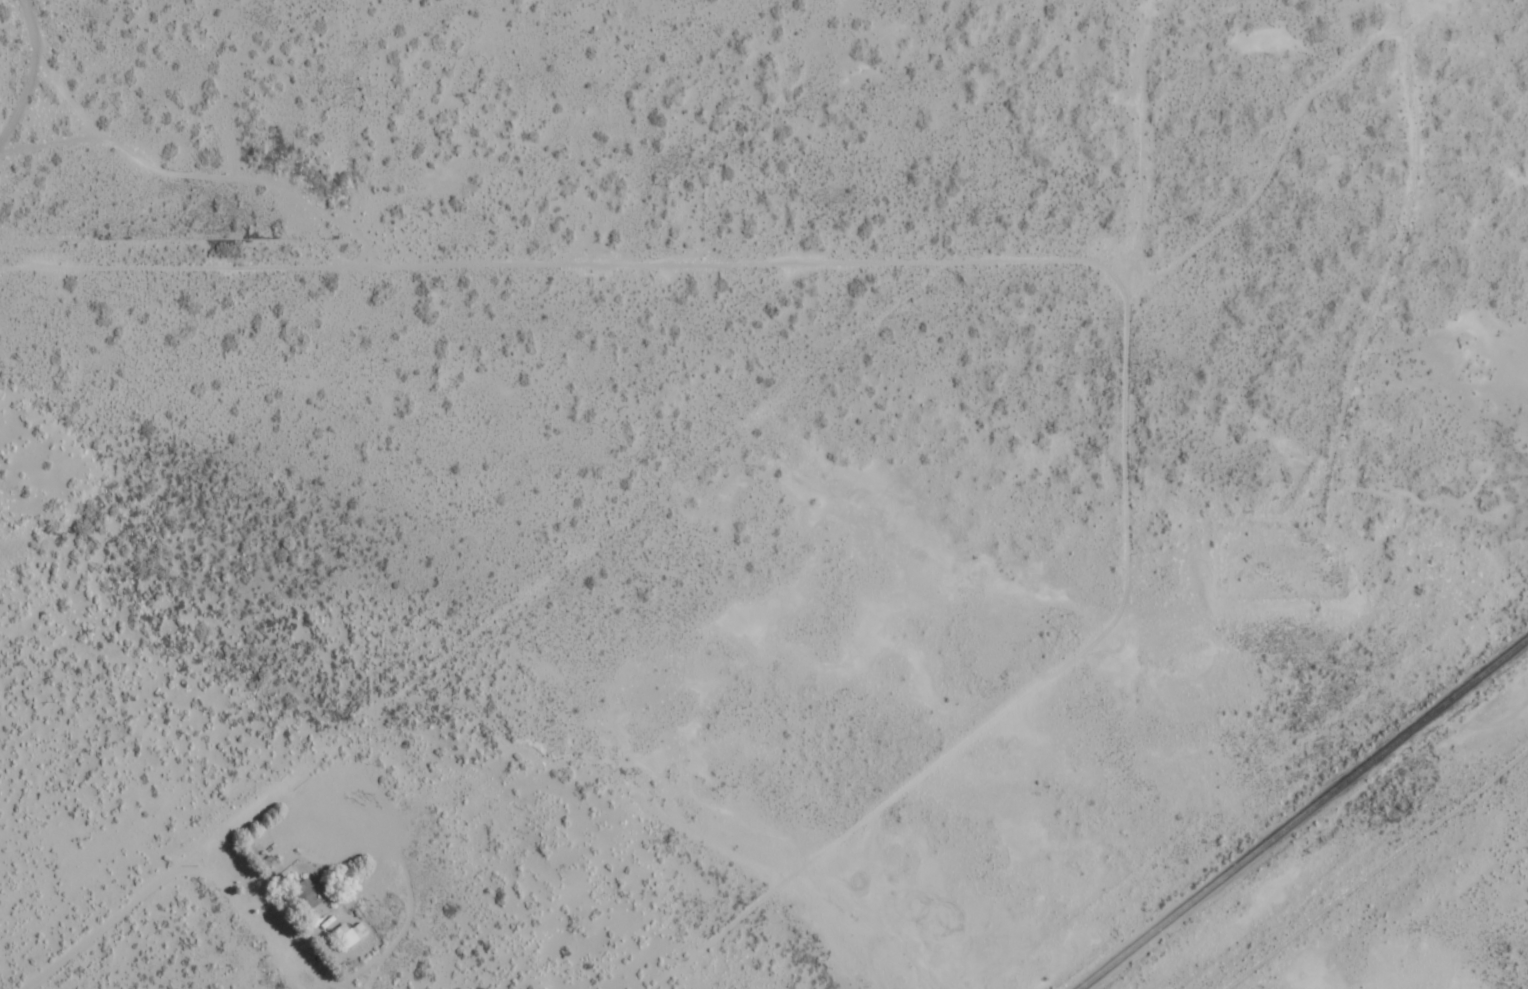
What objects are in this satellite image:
road: (30, 75)
railway: (1303, 812)
road: (1382, 874)
road: (91, 929)
building: (353, 932)

